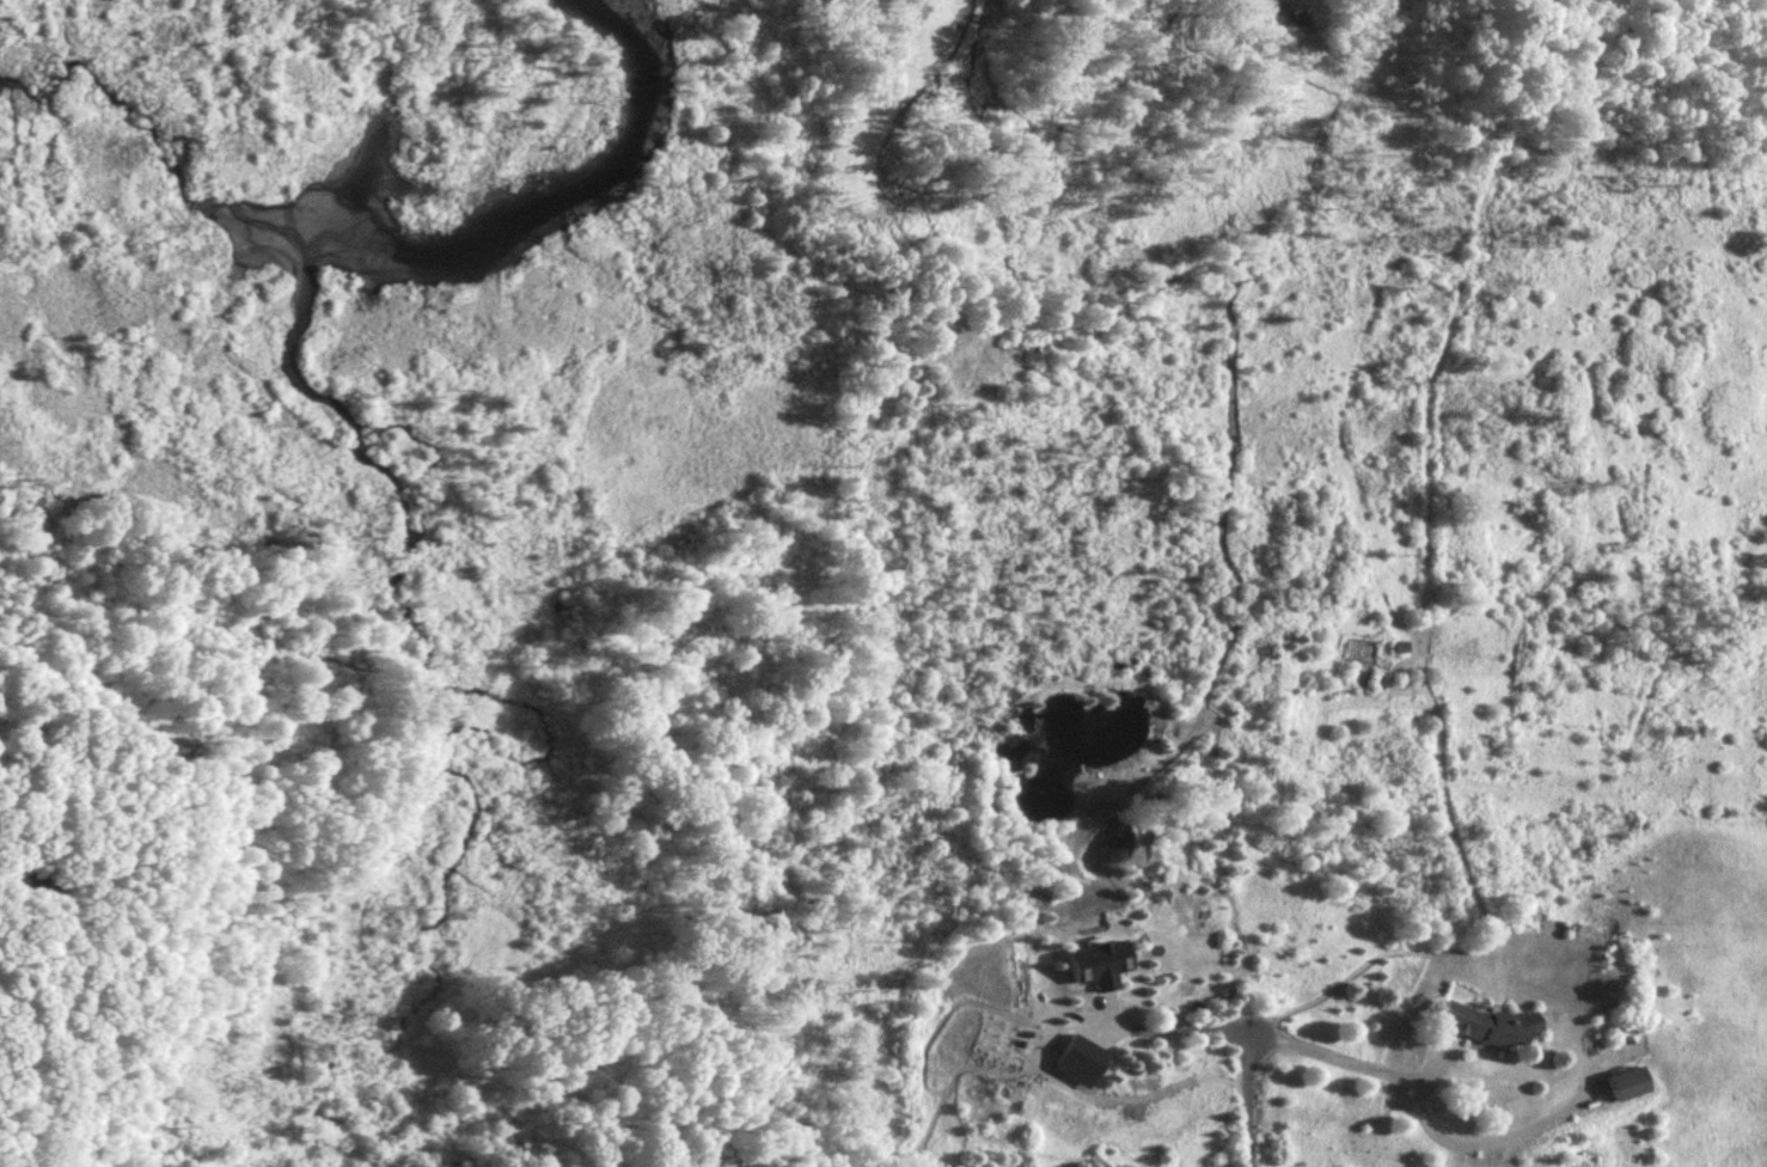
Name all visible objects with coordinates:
building: (1103, 964)
building: (1478, 1026)
road: (1166, 1037)
road: (1334, 1068)
building: (1620, 1084)
road: (1242, 1107)
road: (1473, 1153)

